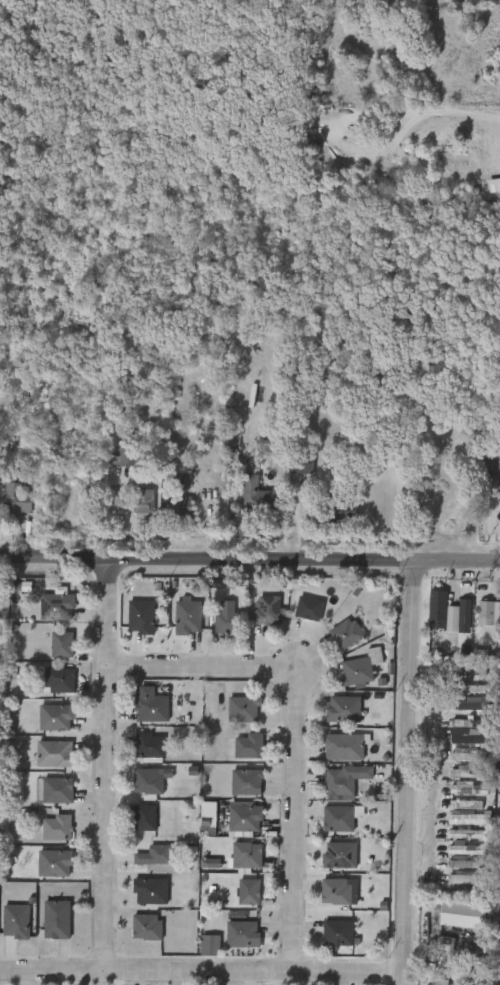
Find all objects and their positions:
building: (134, 450)
building: (117, 457)
building: (303, 462)
building: (290, 469)
building: (259, 495)
building: (18, 498)
building: (247, 501)
building: (143, 503)
building: (176, 508)
building: (498, 508)
building: (136, 511)
building: (338, 511)
building: (293, 513)
road: (249, 558)
building: (59, 604)
building: (309, 609)
building: (269, 610)
building: (440, 611)
building: (300, 614)
building: (499, 615)
building: (141, 617)
building: (187, 617)
building: (479, 618)
building: (227, 623)
building: (217, 628)
building: (348, 633)
building: (62, 645)
building: (53, 650)
building: (363, 668)
building: (472, 668)
road: (297, 670)
building: (61, 679)
building: (51, 685)
building: (151, 708)
building: (463, 708)
building: (243, 709)
building: (344, 710)
building: (55, 717)
building: (469, 722)
road: (297, 732)
building: (458, 741)
building: (151, 747)
building: (249, 747)
building: (346, 747)
building: (140, 752)
building: (56, 753)
building: (467, 755)
building: (454, 759)
road: (106, 763)
road: (408, 771)
building: (454, 777)
building: (345, 781)
building: (148, 782)
building: (247, 782)
road: (431, 787)
building: (468, 788)
building: (54, 789)
building: (458, 793)
building: (456, 809)
building: (144, 817)
building: (245, 817)
building: (344, 817)
building: (469, 818)
building: (136, 823)
building: (329, 824)
building: (460, 824)
building: (57, 827)
building: (198, 830)
building: (466, 833)
building: (456, 839)
building: (469, 848)
building: (249, 854)
building: (453, 854)
building: (155, 855)
building: (342, 855)
building: (238, 860)
building: (54, 862)
building: (201, 868)
building: (467, 878)
building: (450, 882)
building: (153, 890)
building: (249, 891)
building: (335, 891)
building: (239, 896)
building: (463, 914)
building: (56, 918)
building: (16, 920)
building: (146, 926)
building: (243, 933)
building: (341, 933)
building: (328, 938)
building: (201, 950)
road: (202, 972)
building: (418, 984)

